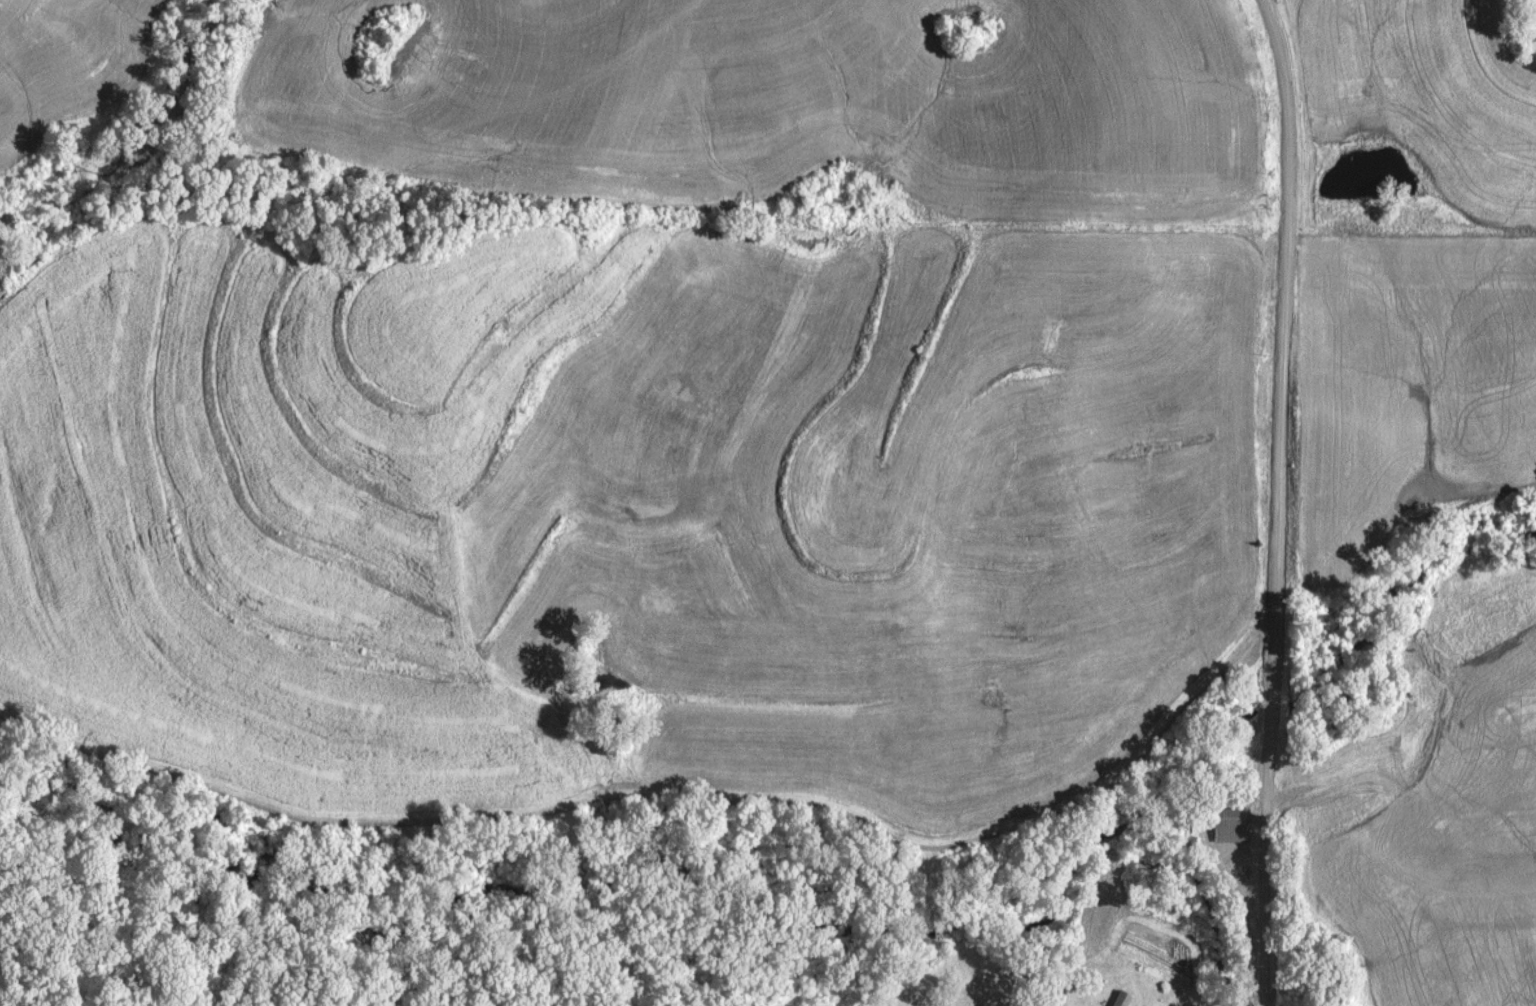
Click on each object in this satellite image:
road: (1283, 492)
road: (1385, 763)
road: (1305, 788)
building: (1234, 824)
building: (1136, 995)
road: (1266, 997)

